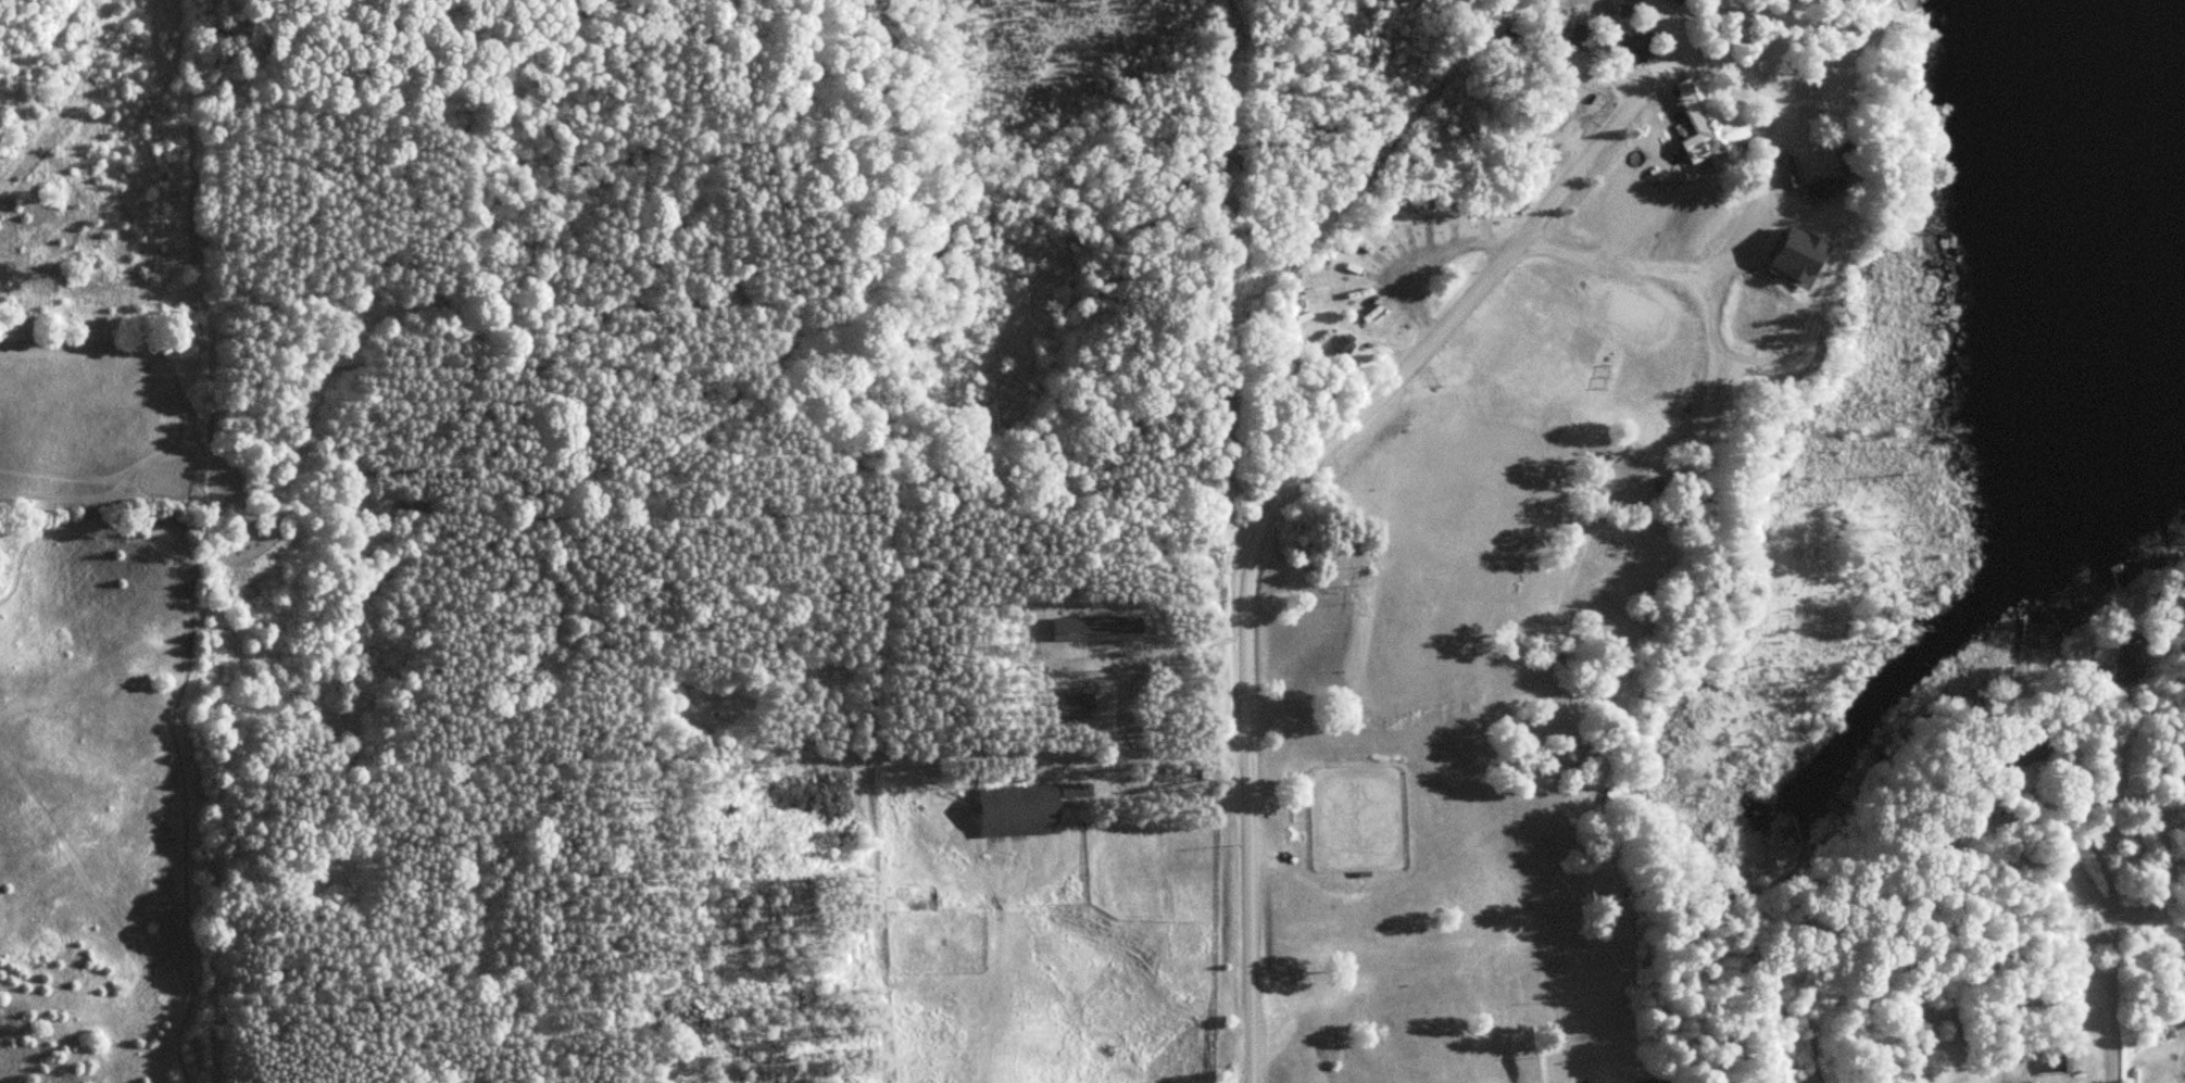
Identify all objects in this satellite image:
building: (1677, 0)
building: (1642, 46)
building: (1711, 124)
building: (1850, 165)
building: (1790, 169)
building: (1826, 186)
road: (1302, 464)
building: (1109, 631)
building: (2132, 659)
building: (2025, 751)
building: (1028, 806)
building: (2065, 1061)
building: (1786, 1075)
building: (1665, 1079)

